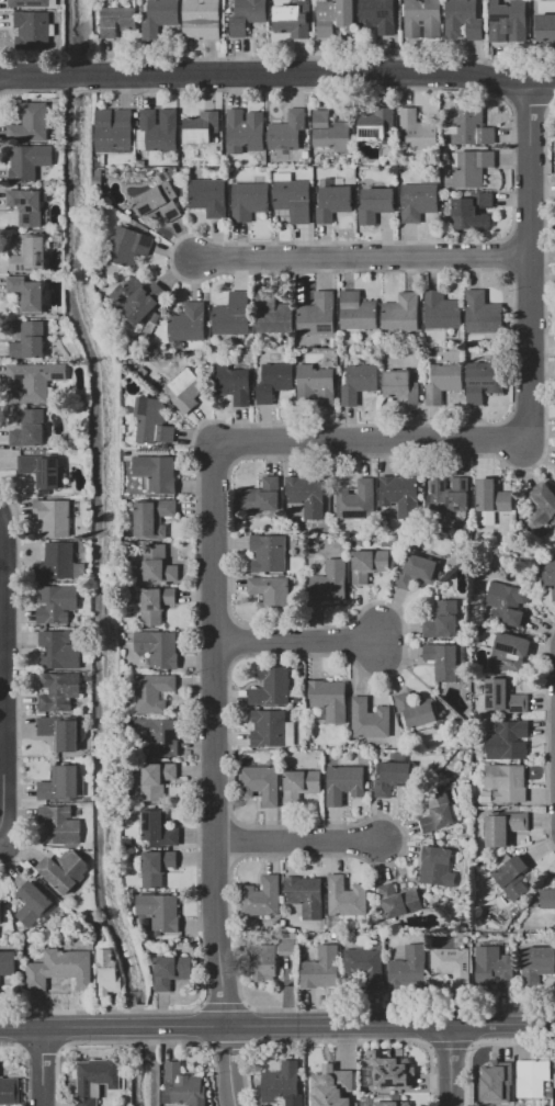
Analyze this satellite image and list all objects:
building: (30, 3)
building: (247, 15)
building: (159, 16)
building: (333, 16)
building: (378, 18)
building: (421, 18)
building: (203, 19)
building: (293, 19)
building: (463, 19)
building: (117, 20)
building: (508, 21)
building: (546, 26)
building: (33, 29)
road: (276, 56)
road: (277, 74)
road: (529, 102)
building: (30, 122)
building: (377, 124)
building: (471, 126)
building: (202, 127)
building: (114, 129)
building: (158, 129)
building: (418, 129)
building: (246, 132)
building: (331, 132)
building: (290, 135)
building: (29, 161)
building: (140, 163)
building: (472, 167)
building: (99, 177)
building: (208, 196)
building: (293, 196)
building: (250, 200)
building: (333, 200)
building: (418, 201)
building: (159, 202)
building: (375, 204)
building: (27, 205)
building: (469, 210)
road: (525, 237)
building: (128, 246)
building: (29, 252)
road: (505, 255)
road: (362, 256)
road: (530, 259)
road: (451, 270)
road: (524, 273)
building: (26, 293)
building: (137, 298)
building: (442, 311)
building: (358, 312)
building: (401, 313)
building: (483, 313)
building: (273, 314)
building: (318, 314)
building: (233, 315)
building: (155, 317)
building: (188, 323)
building: (30, 340)
building: (333, 341)
building: (143, 371)
building: (33, 381)
building: (274, 381)
building: (484, 381)
building: (443, 382)
building: (233, 383)
building: (359, 383)
building: (317, 384)
building: (401, 386)
building: (185, 391)
building: (152, 422)
building: (30, 429)
road: (372, 442)
building: (42, 469)
building: (157, 472)
building: (400, 494)
building: (450, 494)
building: (307, 495)
building: (495, 495)
building: (262, 496)
building: (356, 499)
building: (544, 501)
building: (54, 516)
building: (152, 516)
building: (485, 517)
building: (269, 552)
building: (56, 561)
building: (370, 564)
building: (156, 565)
building: (417, 572)
building: (548, 575)
building: (329, 582)
building: (271, 594)
building: (56, 602)
building: (507, 602)
building: (155, 603)
building: (442, 619)
road: (228, 637)
road: (298, 641)
building: (158, 647)
building: (58, 650)
building: (510, 651)
building: (446, 661)
road: (359, 667)
road: (1, 676)
road: (18, 679)
building: (272, 687)
building: (59, 690)
building: (152, 692)
building: (505, 697)
building: (330, 699)
building: (417, 709)
building: (370, 719)
building: (269, 729)
building: (60, 732)
building: (288, 733)
building: (159, 735)
road: (545, 736)
building: (508, 740)
road: (214, 776)
building: (393, 777)
building: (156, 780)
building: (344, 782)
building: (507, 782)
building: (60, 783)
building: (261, 783)
building: (301, 785)
building: (487, 795)
building: (438, 811)
building: (57, 823)
building: (505, 826)
building: (159, 827)
building: (439, 835)
road: (301, 838)
road: (234, 842)
building: (437, 866)
building: (157, 867)
building: (64, 869)
building: (512, 877)
building: (305, 895)
building: (261, 896)
building: (347, 896)
building: (548, 898)
building: (398, 899)
building: (33, 902)
building: (160, 911)
building: (1, 913)
building: (91, 918)
building: (290, 940)
building: (264, 962)
building: (7, 964)
building: (365, 966)
building: (452, 966)
building: (537, 966)
building: (494, 967)
building: (409, 968)
building: (60, 969)
building: (322, 969)
building: (171, 970)
building: (109, 971)
road: (223, 1005)
road: (276, 1024)
road: (484, 1042)
road: (449, 1045)
road: (472, 1046)
road: (453, 1063)
road: (44, 1068)
building: (392, 1072)
building: (532, 1077)
building: (95, 1079)
building: (554, 1079)
building: (328, 1081)
building: (283, 1084)
building: (184, 1085)
building: (499, 1085)
building: (9, 1091)
building: (550, 1091)
building: (390, 1103)

